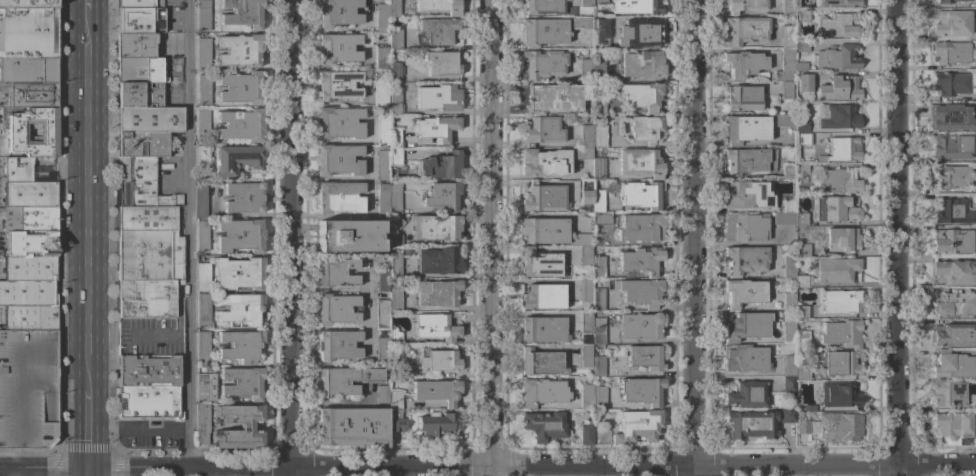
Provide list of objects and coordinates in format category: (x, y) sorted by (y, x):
building: (948, 1)
building: (599, 2)
building: (136, 3)
building: (585, 3)
building: (838, 3)
building: (27, 4)
building: (744, 5)
building: (439, 6)
building: (636, 6)
building: (541, 7)
building: (788, 7)
road: (91, 8)
building: (394, 8)
building: (337, 12)
building: (242, 13)
building: (202, 14)
building: (803, 15)
building: (382, 18)
building: (139, 20)
building: (790, 20)
building: (580, 22)
building: (952, 23)
building: (838, 26)
building: (745, 29)
building: (437, 30)
building: (600, 30)
building: (543, 31)
building: (28, 33)
building: (638, 33)
building: (788, 37)
building: (394, 38)
building: (135, 45)
building: (802, 46)
building: (337, 48)
building: (239, 50)
building: (952, 52)
building: (203, 53)
building: (837, 57)
building: (381, 58)
building: (442, 63)
building: (543, 63)
building: (744, 63)
building: (642, 64)
building: (786, 65)
building: (801, 66)
building: (394, 69)
building: (28, 70)
building: (139, 70)
building: (591, 71)
building: (804, 82)
building: (954, 83)
building: (337, 85)
building: (241, 88)
building: (839, 88)
building: (204, 89)
building: (786, 90)
building: (140, 94)
building: (381, 94)
building: (28, 95)
building: (642, 95)
building: (438, 98)
building: (554, 98)
building: (743, 98)
building: (395, 104)
building: (598, 104)
building: (838, 116)
building: (950, 116)
building: (150, 119)
building: (784, 120)
building: (202, 123)
building: (339, 123)
building: (241, 125)
building: (800, 125)
building: (436, 128)
building: (383, 129)
building: (645, 129)
building: (744, 129)
building: (542, 130)
building: (34, 132)
building: (599, 135)
building: (395, 139)
building: (804, 139)
building: (583, 143)
building: (141, 144)
building: (952, 146)
building: (842, 150)
building: (204, 156)
building: (395, 157)
building: (237, 159)
building: (337, 160)
building: (749, 161)
building: (640, 162)
building: (544, 163)
building: (383, 165)
building: (440, 166)
building: (18, 169)
building: (598, 169)
building: (801, 169)
building: (788, 173)
building: (951, 176)
building: (836, 182)
building: (141, 184)
building: (586, 192)
building: (30, 194)
building: (640, 194)
building: (747, 194)
building: (442, 195)
building: (243, 197)
building: (339, 197)
building: (543, 198)
building: (395, 199)
building: (383, 200)
building: (597, 201)
road: (91, 202)
building: (200, 202)
building: (836, 209)
building: (954, 212)
building: (784, 218)
building: (30, 219)
building: (601, 219)
building: (801, 219)
building: (397, 222)
building: (436, 227)
building: (745, 227)
building: (640, 228)
building: (544, 230)
road: (192, 234)
building: (202, 235)
building: (240, 235)
building: (349, 236)
road: (495, 237)
road: (298, 238)
road: (693, 238)
road: (903, 238)
building: (842, 239)
building: (395, 240)
building: (952, 241)
building: (30, 243)
building: (582, 247)
building: (802, 250)
building: (641, 260)
building: (745, 260)
building: (438, 261)
building: (539, 263)
building: (395, 265)
building: (598, 266)
building: (789, 266)
building: (834, 269)
building: (336, 272)
building: (956, 272)
building: (238, 273)
building: (203, 277)
building: (383, 280)
building: (28, 281)
building: (149, 281)
building: (800, 281)
building: (585, 290)
building: (640, 291)
building: (743, 292)
building: (436, 293)
building: (543, 297)
building: (598, 299)
building: (789, 301)
building: (841, 301)
building: (395, 302)
building: (955, 304)
building: (239, 309)
building: (338, 309)
building: (203, 311)
building: (801, 312)
building: (30, 318)
building: (386, 321)
building: (585, 323)
building: (641, 325)
building: (747, 326)
building: (435, 327)
building: (543, 329)
building: (598, 330)
building: (789, 331)
building: (842, 333)
building: (954, 334)
building: (802, 342)
building: (337, 344)
building: (202, 345)
building: (240, 345)
building: (382, 352)
building: (410, 352)
building: (584, 355)
building: (645, 357)
building: (744, 358)
building: (438, 360)
building: (541, 362)
building: (837, 363)
building: (954, 365)
building: (599, 366)
building: (789, 366)
building: (398, 367)
building: (202, 369)
building: (148, 371)
building: (802, 373)
building: (344, 380)
building: (242, 383)
building: (788, 384)
building: (28, 388)
parking lot: (28, 388)
building: (437, 391)
building: (642, 391)
building: (541, 392)
building: (949, 393)
building: (382, 394)
building: (747, 395)
building: (839, 395)
building: (585, 396)
building: (599, 397)
building: (150, 402)
building: (203, 406)
building: (809, 408)
building: (395, 412)
building: (787, 416)
building: (437, 424)
building: (750, 424)
building: (545, 425)
building: (953, 425)
road: (141, 426)
building: (245, 426)
road: (90, 427)
building: (352, 427)
building: (832, 427)
building: (631, 428)
building: (585, 435)
road: (487, 465)
traffic signals: (90, 468)
road: (90, 472)
road: (248, 473)

